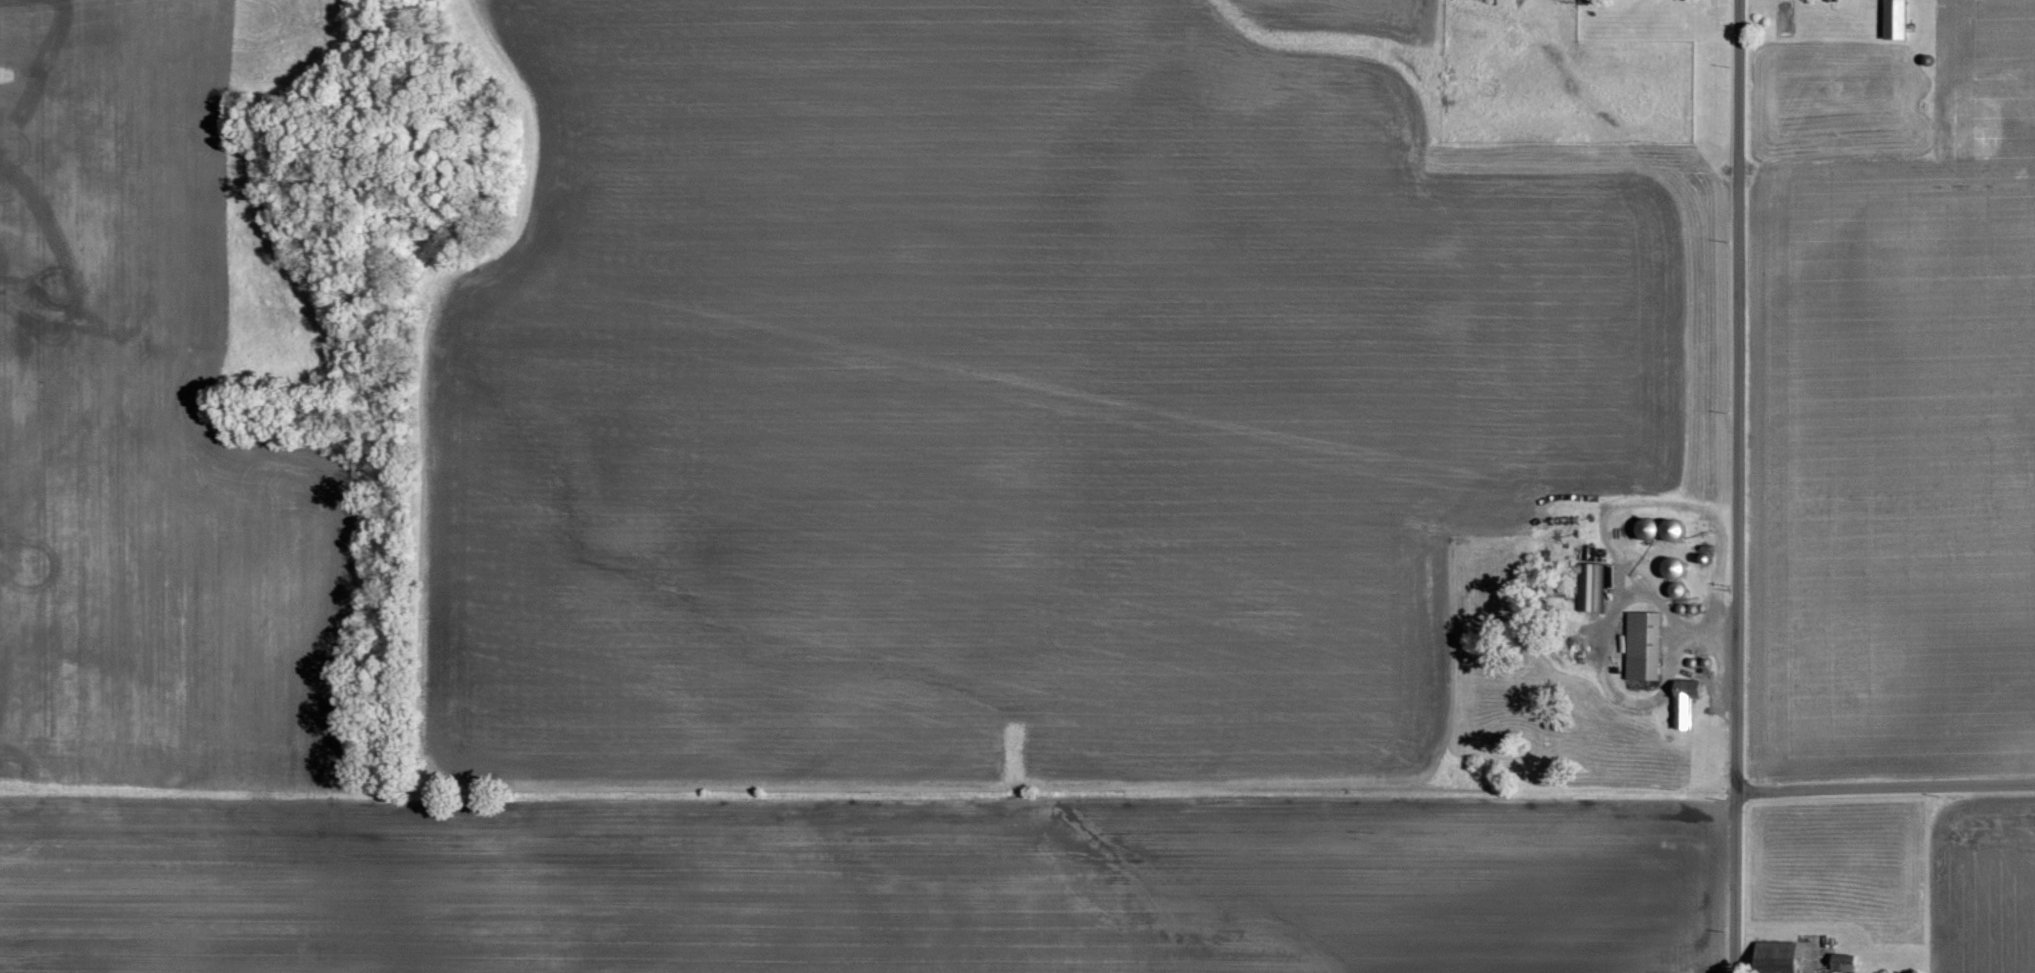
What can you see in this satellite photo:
building: (1895, 19)
building: (1928, 60)
silo: (1928, 60)
road: (1741, 399)
crop: (1896, 448)
building: (1592, 589)
building: (1642, 648)
building: (1683, 704)
road: (1887, 795)
crop: (1982, 885)
road: (1739, 886)
building: (1777, 956)
building: (1845, 962)

